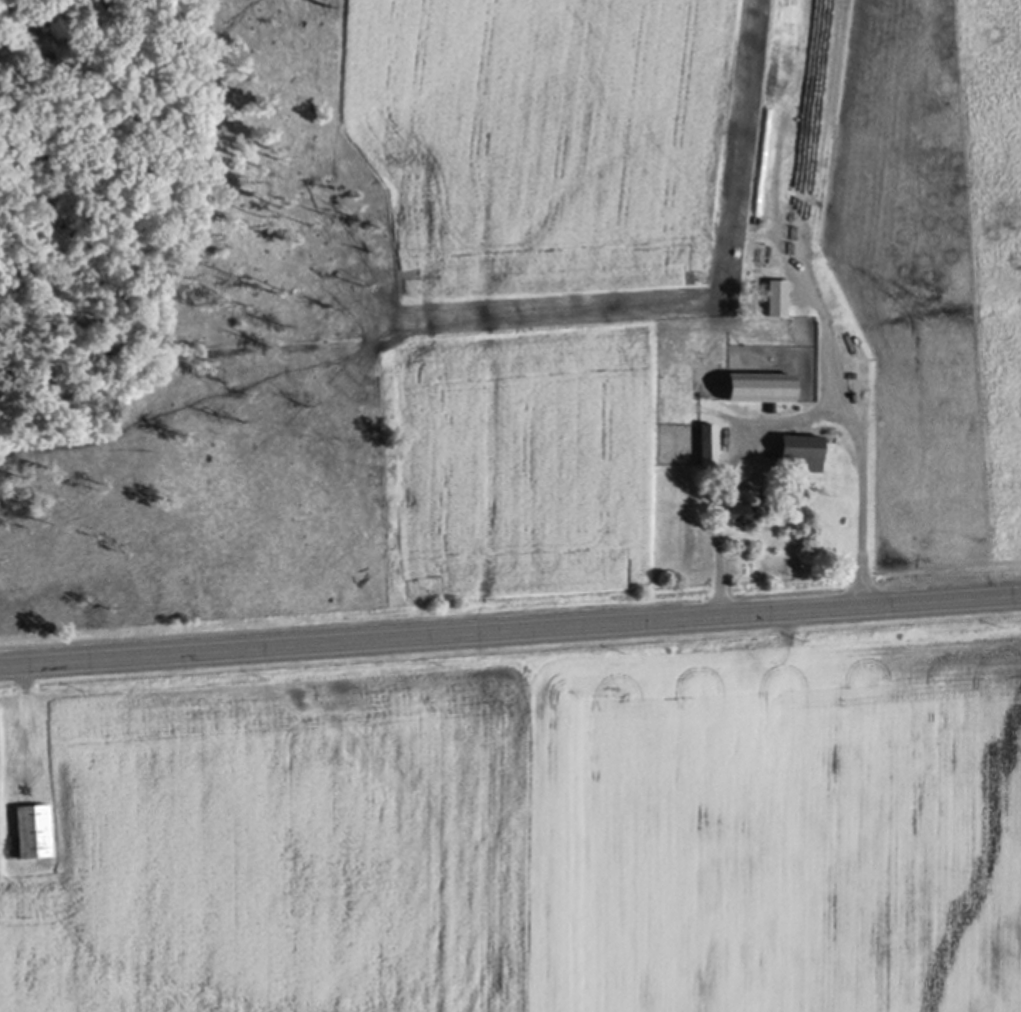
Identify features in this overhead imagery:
building: (762, 257)
crop: (674, 266)
building: (773, 297)
building: (753, 387)
road: (800, 420)
building: (706, 445)
building: (794, 452)
building: (734, 512)
road: (510, 630)
crop: (526, 823)
building: (31, 830)

